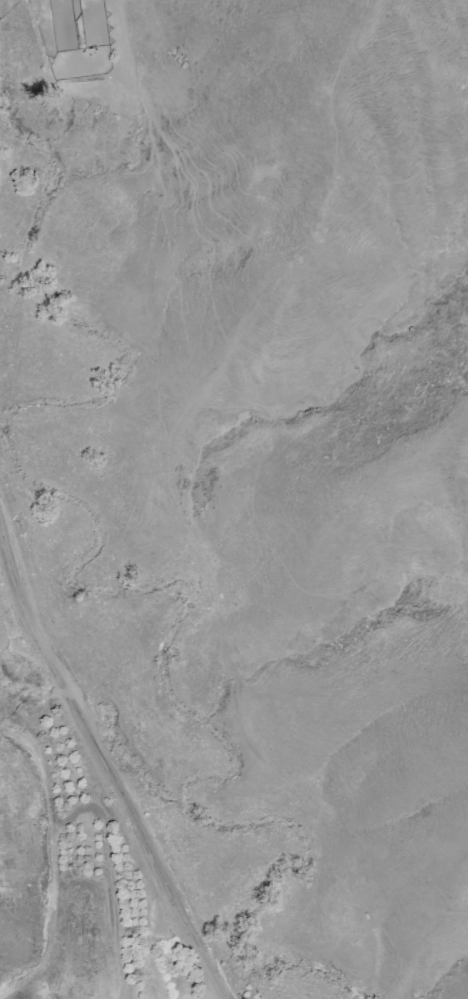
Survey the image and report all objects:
road: (106, 764)

